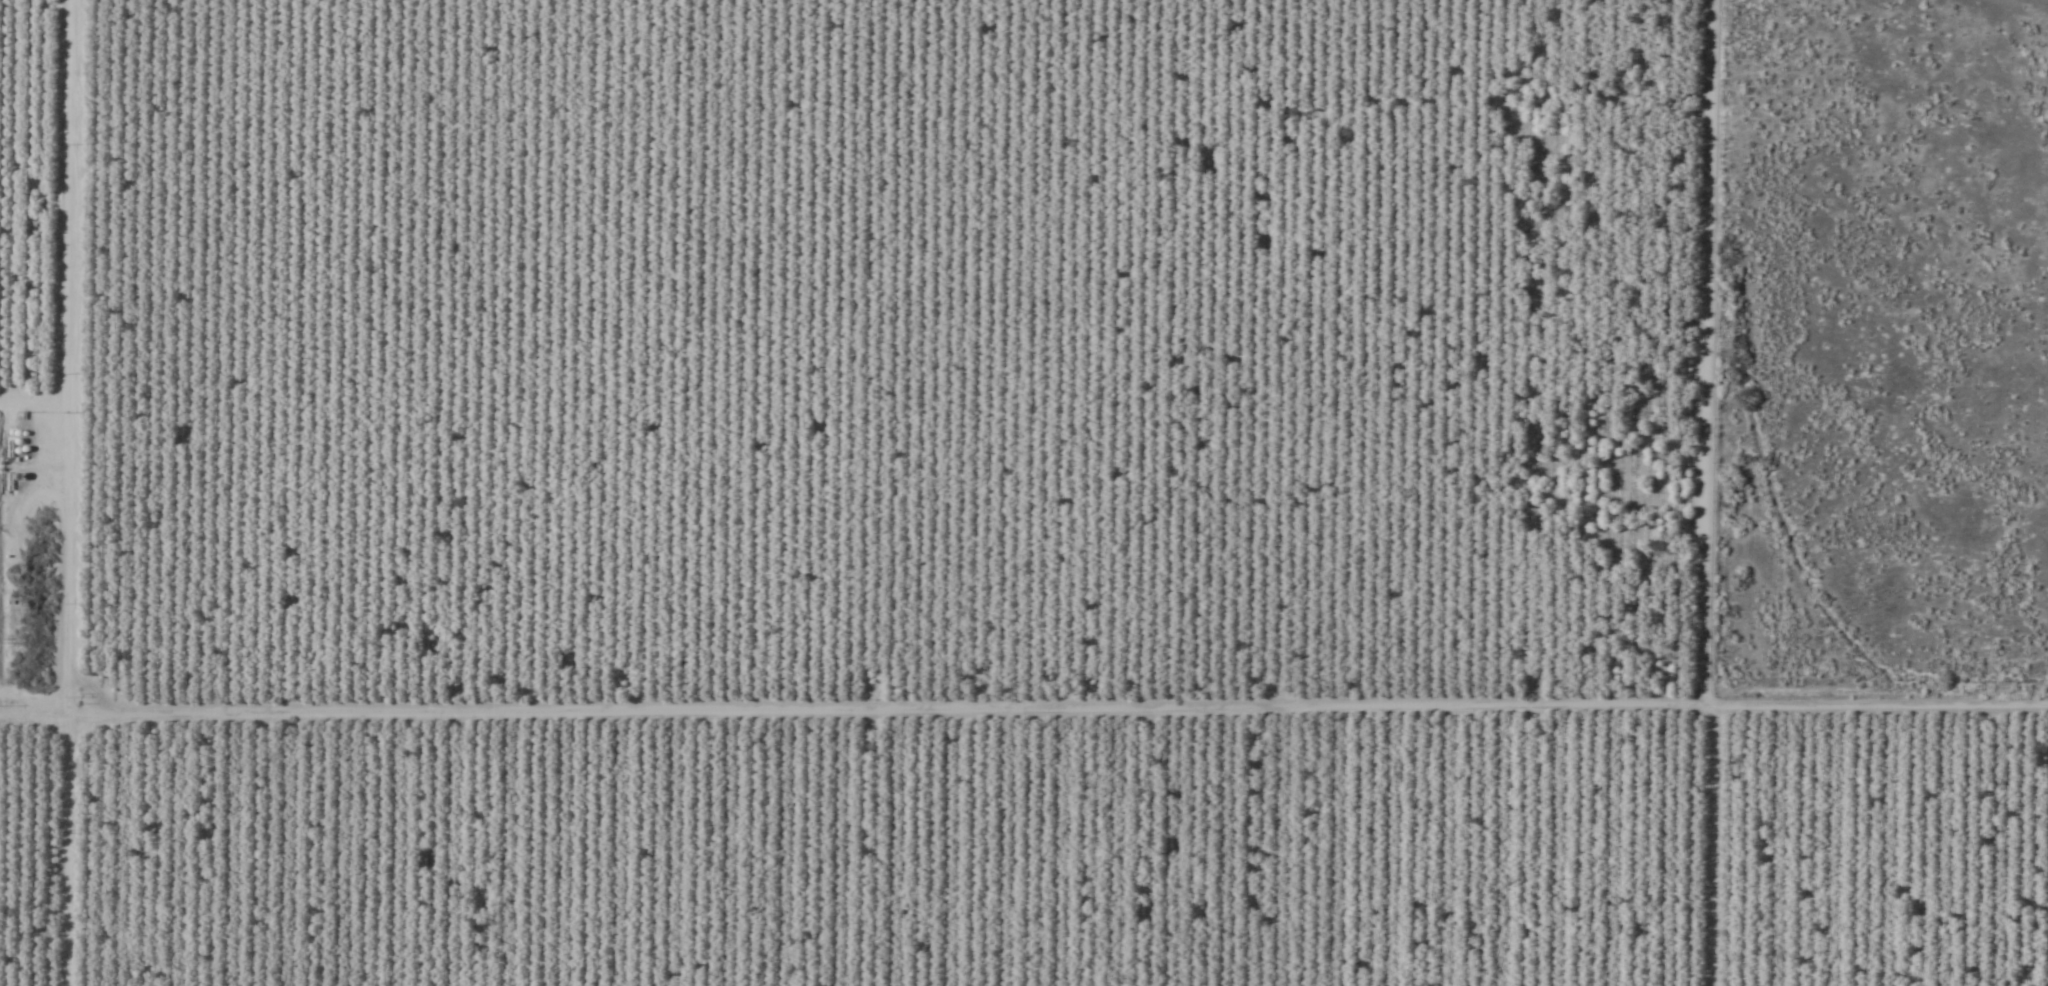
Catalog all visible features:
road: (1878, 719)

